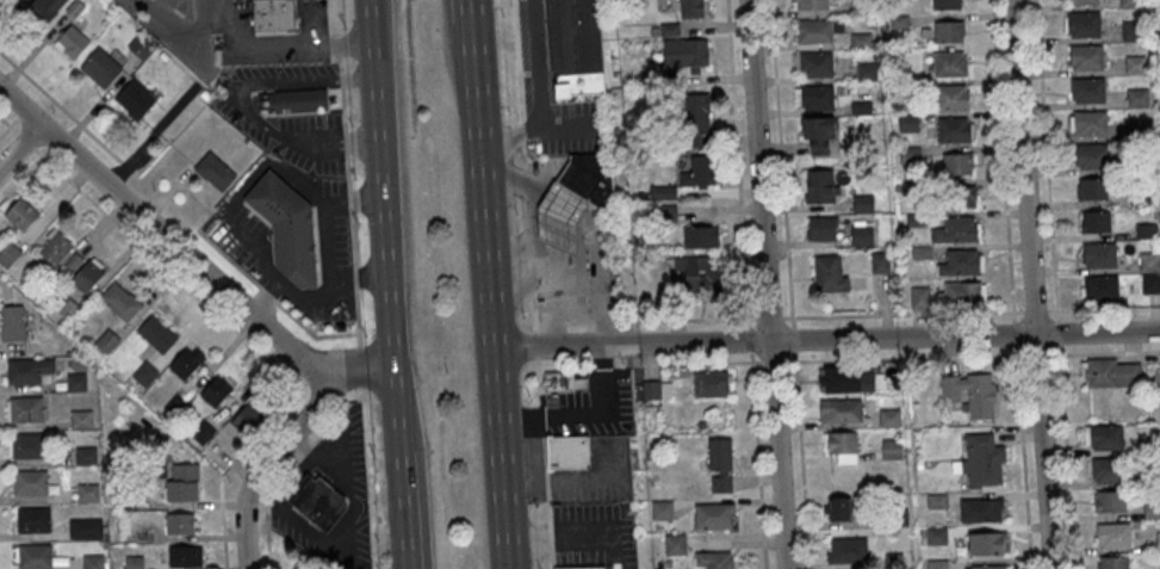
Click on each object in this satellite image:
building: (6, 0)
building: (1079, 1)
building: (945, 4)
building: (1130, 4)
building: (811, 5)
building: (184, 7)
building: (691, 8)
building: (43, 10)
road: (470, 13)
building: (274, 17)
road: (329, 19)
road: (205, 21)
building: (1081, 24)
building: (817, 30)
building: (1131, 30)
building: (949, 31)
building: (72, 41)
road: (290, 45)
road: (335, 47)
building: (577, 47)
road: (451, 50)
building: (686, 52)
building: (1086, 56)
road: (515, 60)
road: (535, 62)
building: (813, 63)
building: (950, 63)
building: (101, 67)
road: (341, 68)
parking lot: (281, 75)
road: (359, 79)
road: (255, 87)
building: (1086, 89)
building: (814, 97)
building: (951, 97)
building: (135, 98)
building: (299, 100)
road: (343, 105)
road: (19, 106)
road: (69, 112)
building: (696, 120)
road: (571, 122)
building: (908, 123)
building: (1088, 123)
building: (818, 126)
parking lot: (308, 129)
road: (521, 129)
building: (954, 129)
road: (5, 130)
parking lot: (576, 130)
road: (508, 134)
road: (330, 140)
road: (345, 140)
road: (19, 146)
road: (317, 150)
road: (522, 154)
building: (1092, 155)
parking lot: (314, 159)
road: (1046, 160)
road: (1001, 161)
road: (737, 162)
building: (957, 162)
road: (780, 163)
building: (215, 171)
building: (701, 172)
road: (20, 177)
building: (589, 180)
road: (383, 183)
road: (525, 184)
building: (1092, 188)
building: (821, 191)
building: (962, 196)
building: (863, 204)
road: (536, 210)
road: (526, 211)
building: (21, 214)
building: (559, 219)
building: (1094, 222)
building: (823, 228)
building: (957, 229)
building: (287, 230)
building: (862, 231)
building: (701, 236)
road: (527, 237)
building: (55, 246)
road: (352, 247)
building: (8, 254)
building: (1099, 254)
road: (529, 259)
building: (880, 261)
building: (962, 262)
building: (830, 272)
building: (1149, 272)
road: (205, 273)
building: (694, 274)
building: (87, 276)
road: (531, 278)
road: (765, 284)
road: (1030, 284)
building: (1099, 287)
building: (960, 293)
building: (918, 296)
road: (272, 298)
road: (489, 298)
building: (120, 301)
building: (67, 307)
road: (1102, 308)
road: (532, 310)
road: (1031, 311)
road: (899, 314)
road: (769, 317)
road: (644, 318)
road: (229, 323)
building: (13, 326)
road: (1057, 330)
building: (157, 333)
road: (1013, 333)
road: (749, 338)
road: (793, 338)
road: (825, 339)
building: (107, 341)
road: (533, 345)
road: (1103, 352)
road: (1035, 353)
road: (904, 357)
building: (188, 359)
road: (645, 360)
road: (773, 360)
road: (703, 361)
road: (360, 366)
building: (29, 370)
building: (1111, 372)
building: (144, 373)
road: (538, 377)
building: (846, 381)
building: (76, 382)
building: (564, 382)
building: (711, 383)
building: (217, 390)
road: (397, 390)
building: (656, 392)
building: (972, 394)
building: (26, 408)
building: (840, 412)
road: (541, 415)
building: (82, 419)
building: (248, 419)
building: (203, 432)
road: (399, 432)
building: (1104, 435)
building: (29, 445)
building: (842, 446)
building: (892, 449)
road: (544, 450)
building: (567, 452)
building: (86, 456)
road: (1022, 456)
road: (1066, 456)
road: (272, 458)
road: (757, 458)
road: (801, 458)
building: (981, 460)
building: (720, 464)
road: (290, 466)
building: (1108, 469)
road: (564, 477)
building: (31, 482)
road: (546, 482)
parking lot: (582, 489)
building: (182, 490)
building: (88, 493)
building: (318, 501)
building: (1110, 501)
road: (418, 508)
building: (838, 508)
building: (981, 508)
road: (405, 509)
building: (662, 509)
road: (547, 513)
building: (714, 515)
building: (33, 519)
building: (180, 524)
building: (85, 527)
building: (143, 534)
road: (352, 534)
building: (936, 534)
road: (528, 536)
road: (583, 536)
parking lot: (590, 536)
building: (1112, 536)
road: (550, 537)
building: (986, 542)
building: (1158, 542)
building: (675, 544)
building: (846, 550)
road: (615, 551)
building: (35, 556)
building: (182, 556)
road: (551, 559)
building: (713, 559)
building: (94, 562)
building: (135, 562)
building: (1114, 562)
building: (937, 563)
building: (990, 565)
building: (587, 568)

